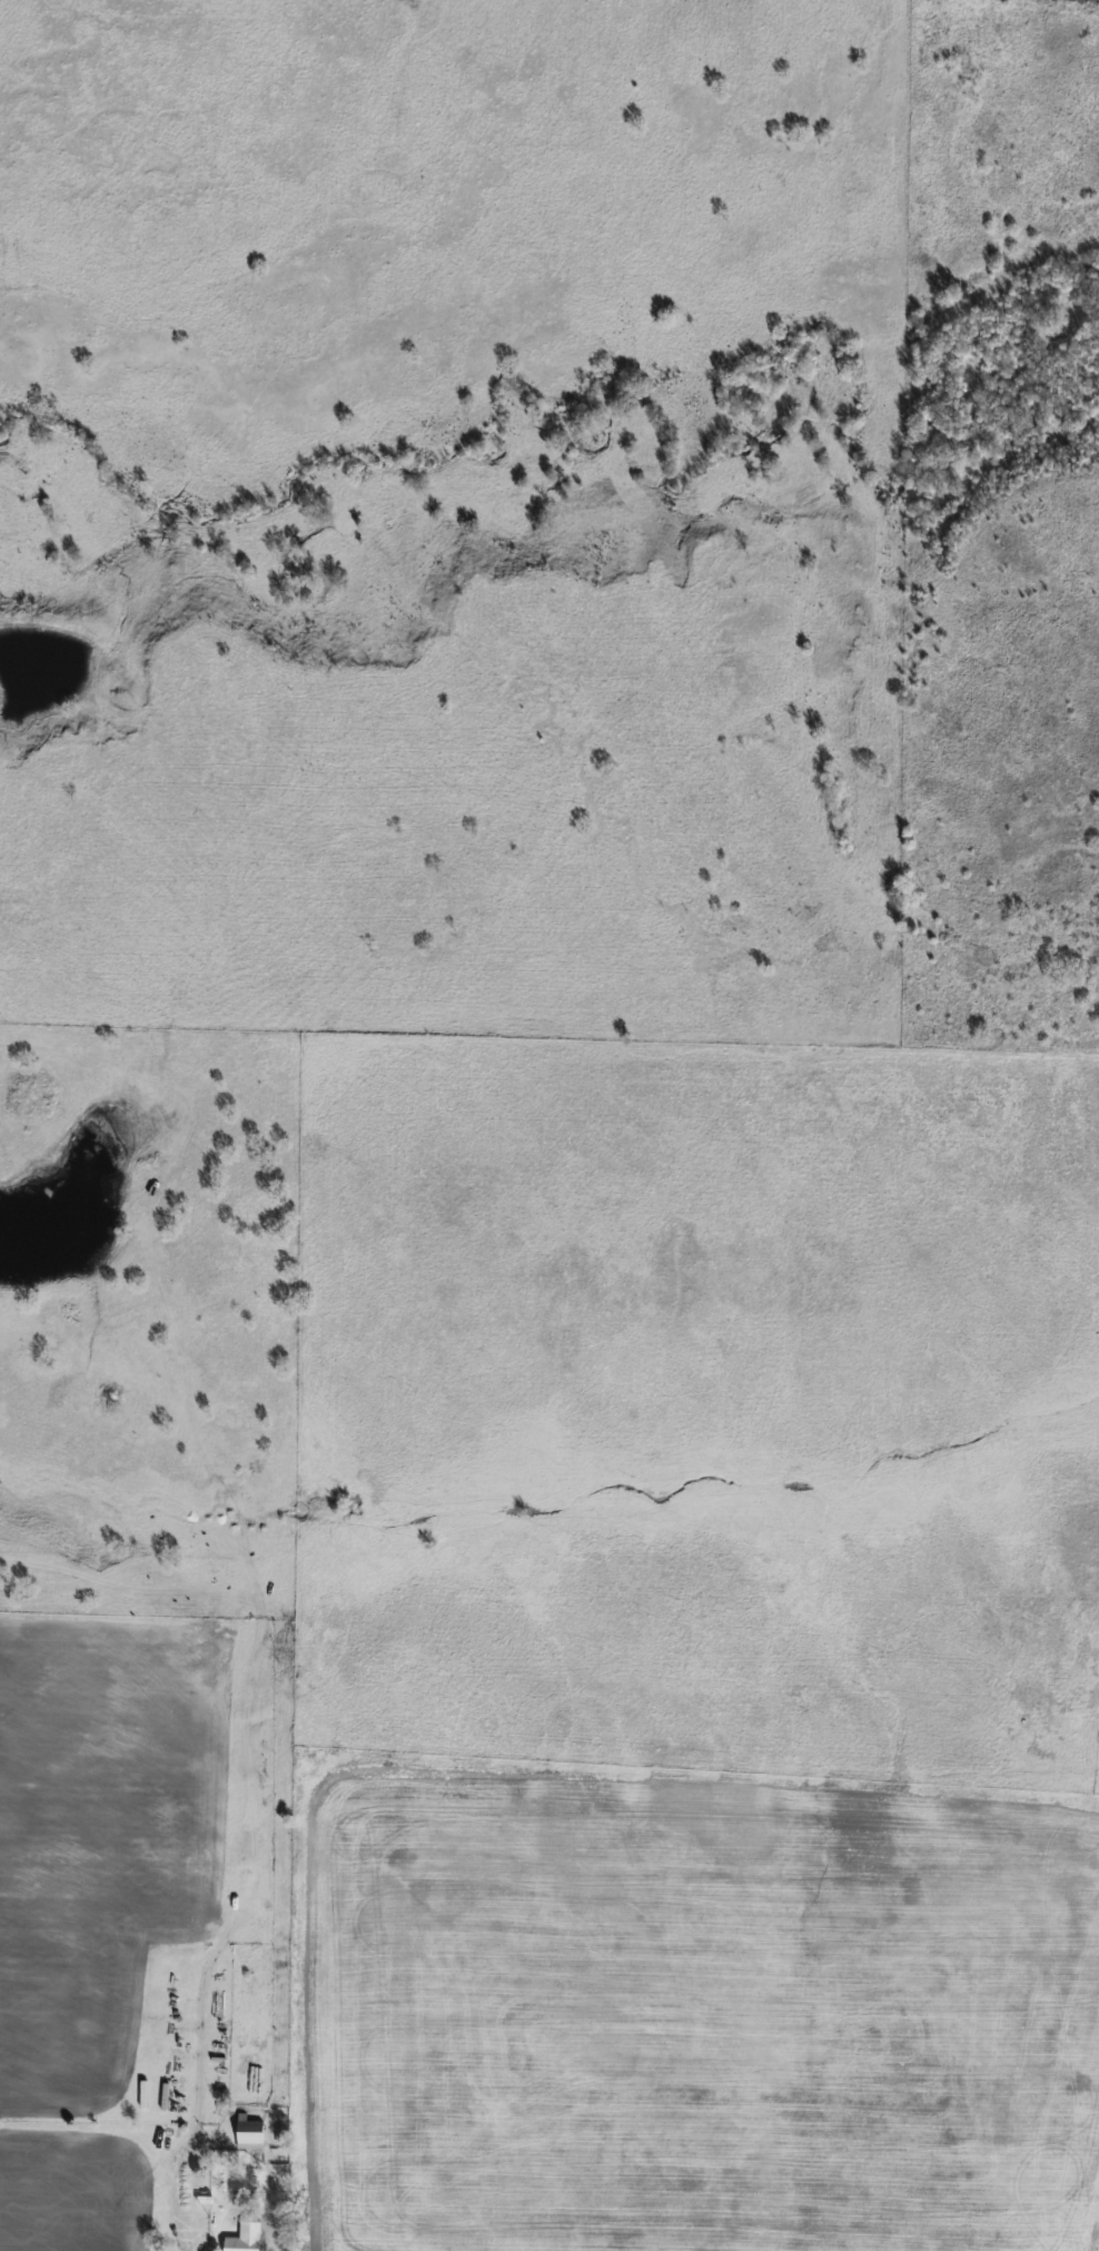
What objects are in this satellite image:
building: (251, 2133)
building: (246, 2238)

